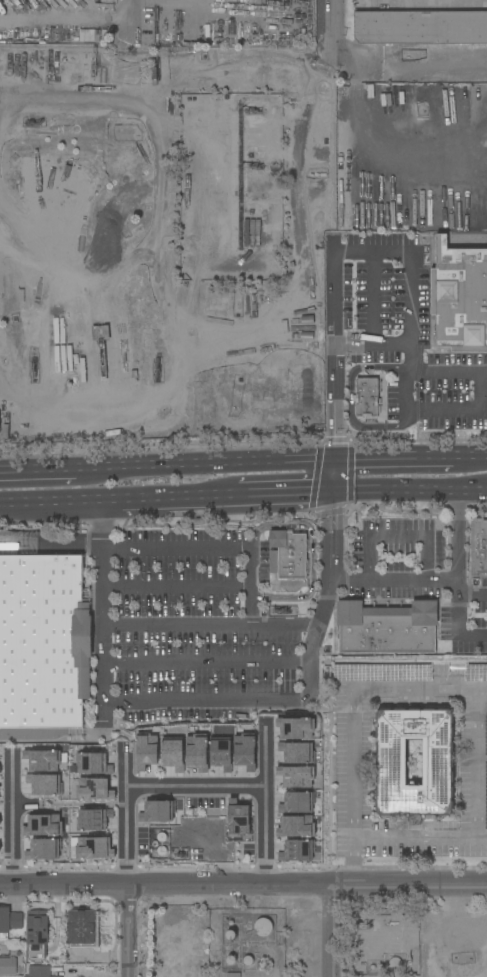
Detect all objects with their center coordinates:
road: (428, 0)
road: (131, 20)
road: (335, 27)
building: (420, 27)
road: (412, 58)
petroleum well: (251, 111)
petroleum well: (35, 124)
road: (389, 143)
petroleum well: (254, 165)
road: (353, 255)
road: (373, 281)
building: (460, 297)
road: (412, 315)
petroleum well: (28, 316)
road: (373, 348)
petroleum well: (35, 363)
petroleum well: (157, 371)
road: (333, 373)
road: (450, 375)
road: (351, 397)
building: (366, 398)
road: (407, 399)
road: (461, 408)
road: (471, 462)
road: (394, 463)
road: (213, 469)
road: (46, 476)
road: (409, 490)
road: (287, 493)
road: (170, 498)
road: (50, 502)
road: (396, 538)
building: (479, 546)
road: (214, 550)
building: (288, 554)
road: (311, 556)
parking lot: (399, 557)
road: (440, 581)
road: (175, 588)
road: (472, 598)
parking lot: (466, 620)
road: (458, 622)
parking lot: (199, 626)
road: (209, 627)
building: (387, 628)
building: (43, 641)
road: (205, 664)
road: (352, 692)
road: (208, 704)
building: (296, 728)
road: (26, 735)
building: (146, 751)
building: (245, 751)
building: (296, 752)
building: (197, 753)
building: (174, 754)
building: (222, 754)
road: (264, 754)
building: (43, 760)
road: (475, 760)
building: (438, 762)
road: (125, 765)
building: (296, 776)
road: (11, 778)
building: (44, 784)
road: (194, 786)
building: (94, 789)
building: (296, 803)
building: (156, 812)
building: (93, 819)
building: (237, 819)
building: (43, 825)
building: (295, 826)
road: (11, 832)
road: (264, 834)
road: (419, 834)
road: (125, 835)
building: (94, 848)
building: (42, 849)
building: (297, 851)
petroleum well: (179, 854)
road: (243, 883)
building: (9, 921)
petroleum well: (362, 926)
building: (264, 927)
storage tank: (264, 927)
building: (82, 928)
road: (125, 930)
road: (324, 930)
building: (38, 934)
petroleum well: (407, 958)
building: (8, 965)
building: (395, 966)
storage tank: (395, 966)
building: (38, 971)

